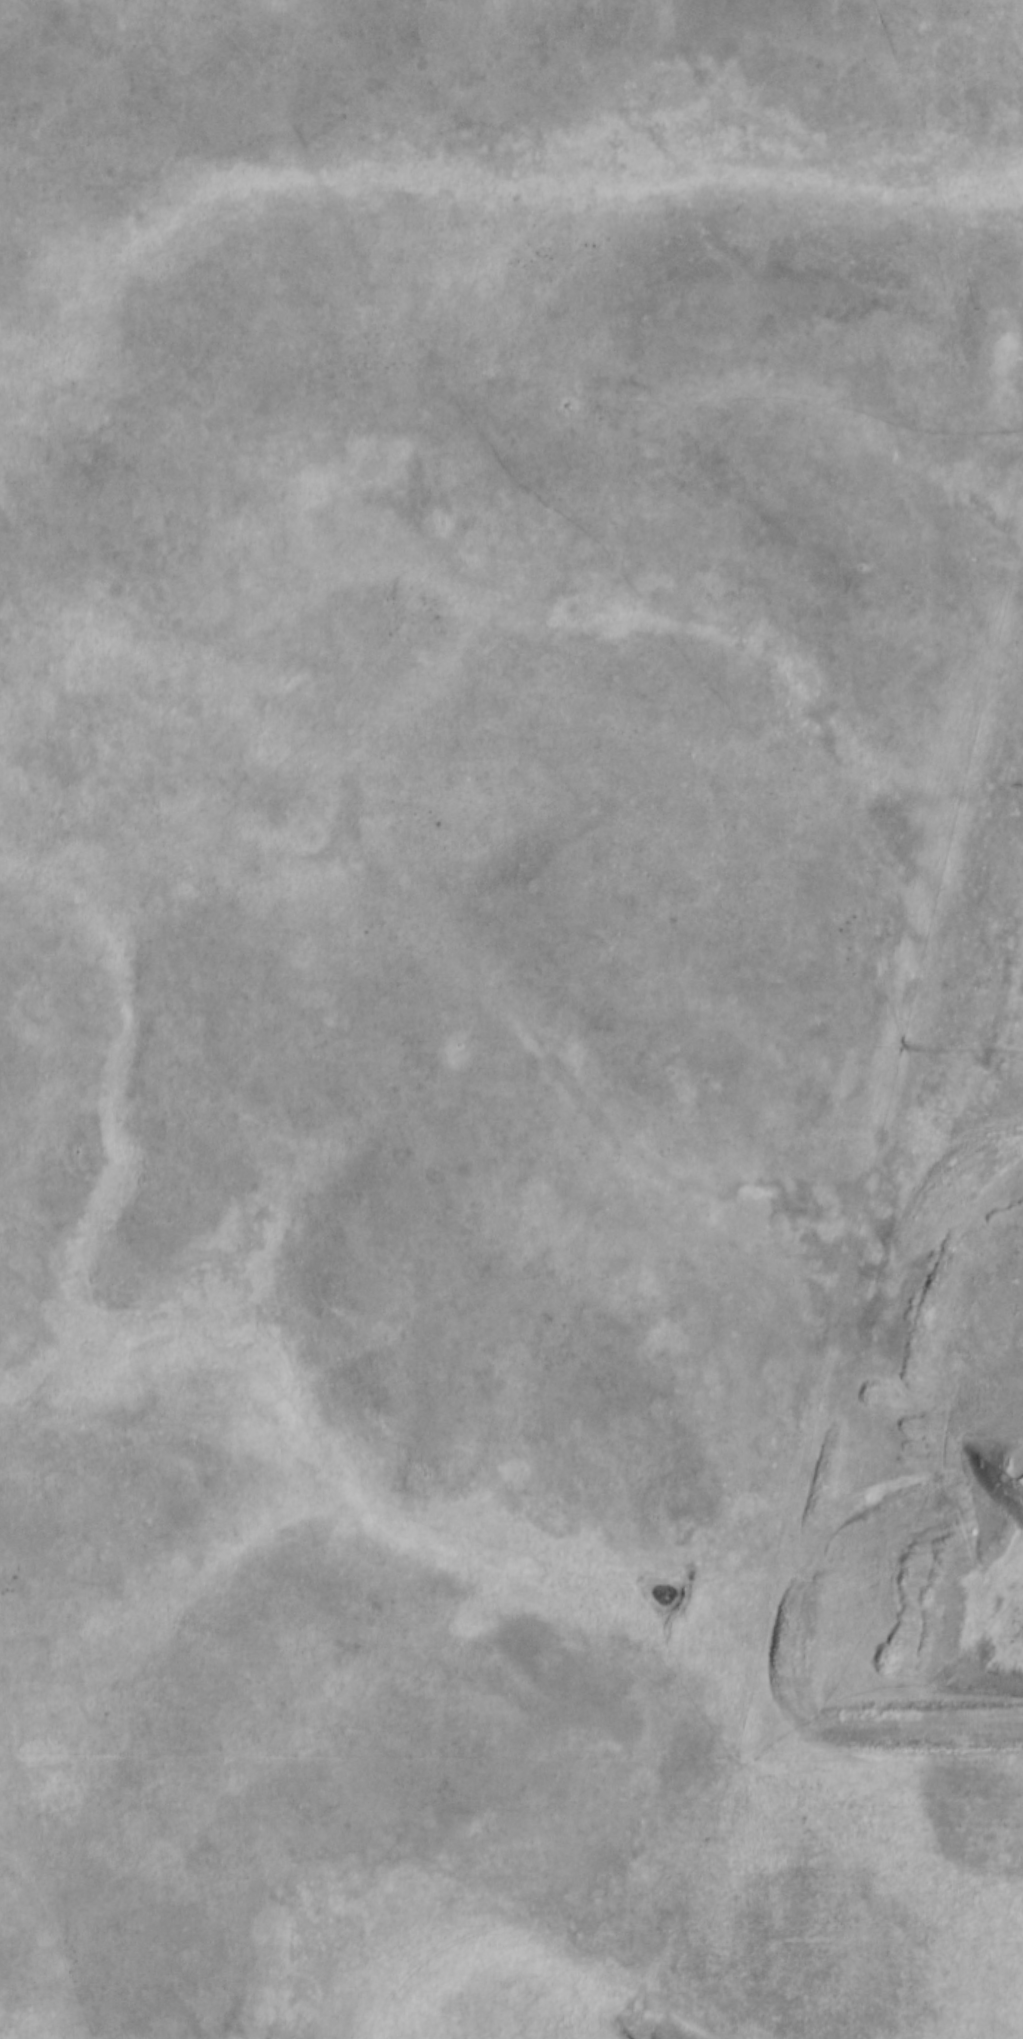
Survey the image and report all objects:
quarry: (911, 1447)

